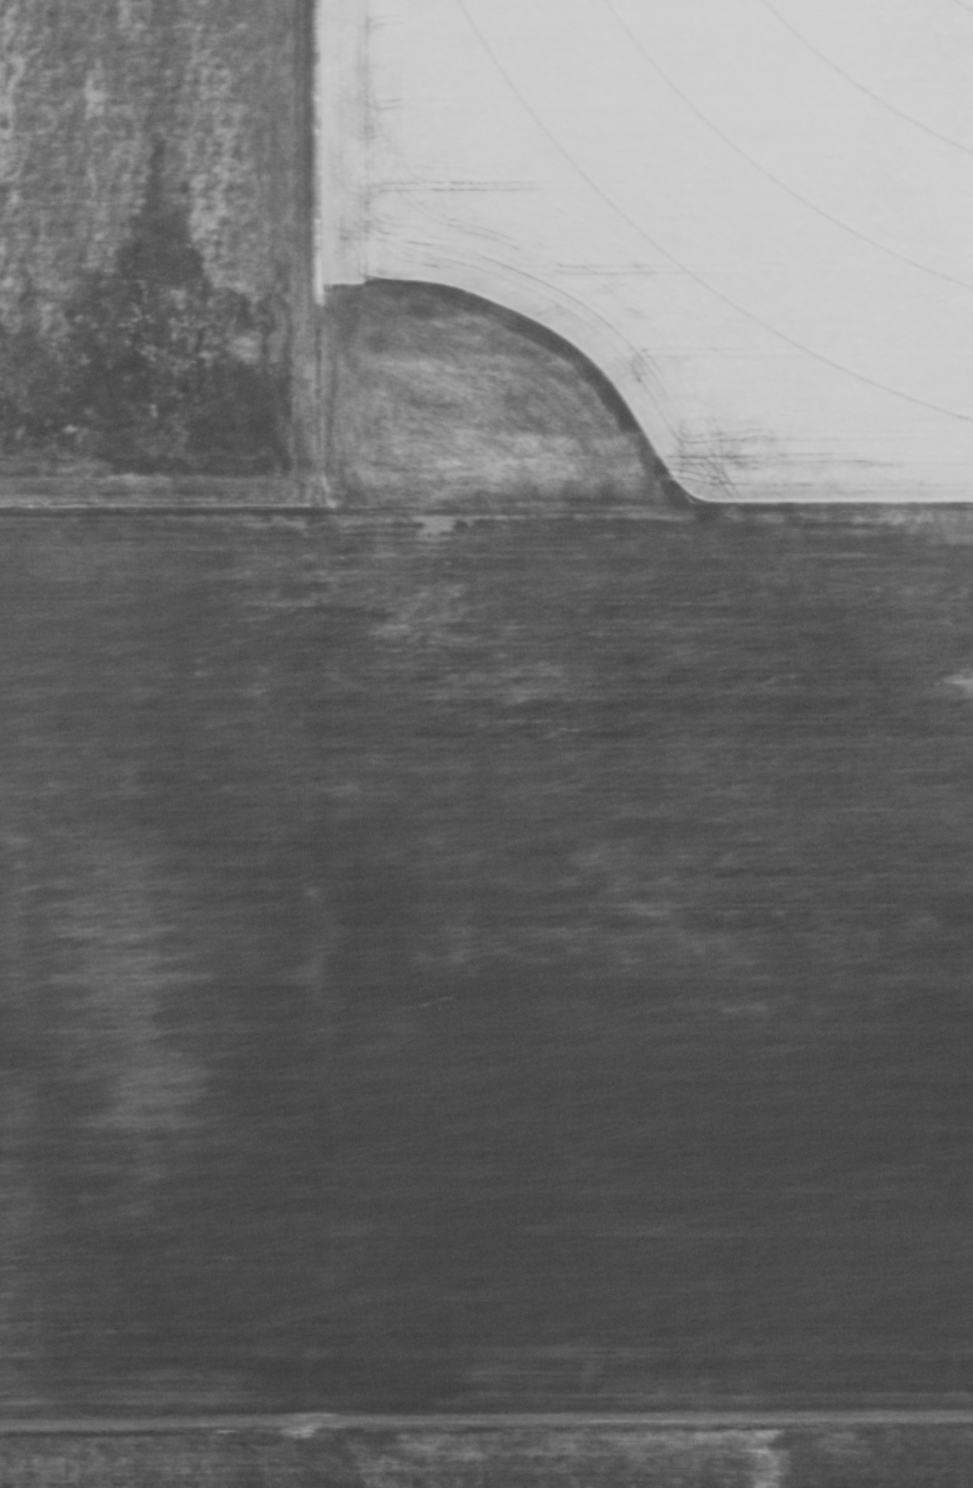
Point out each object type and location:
road: (486, 1423)

